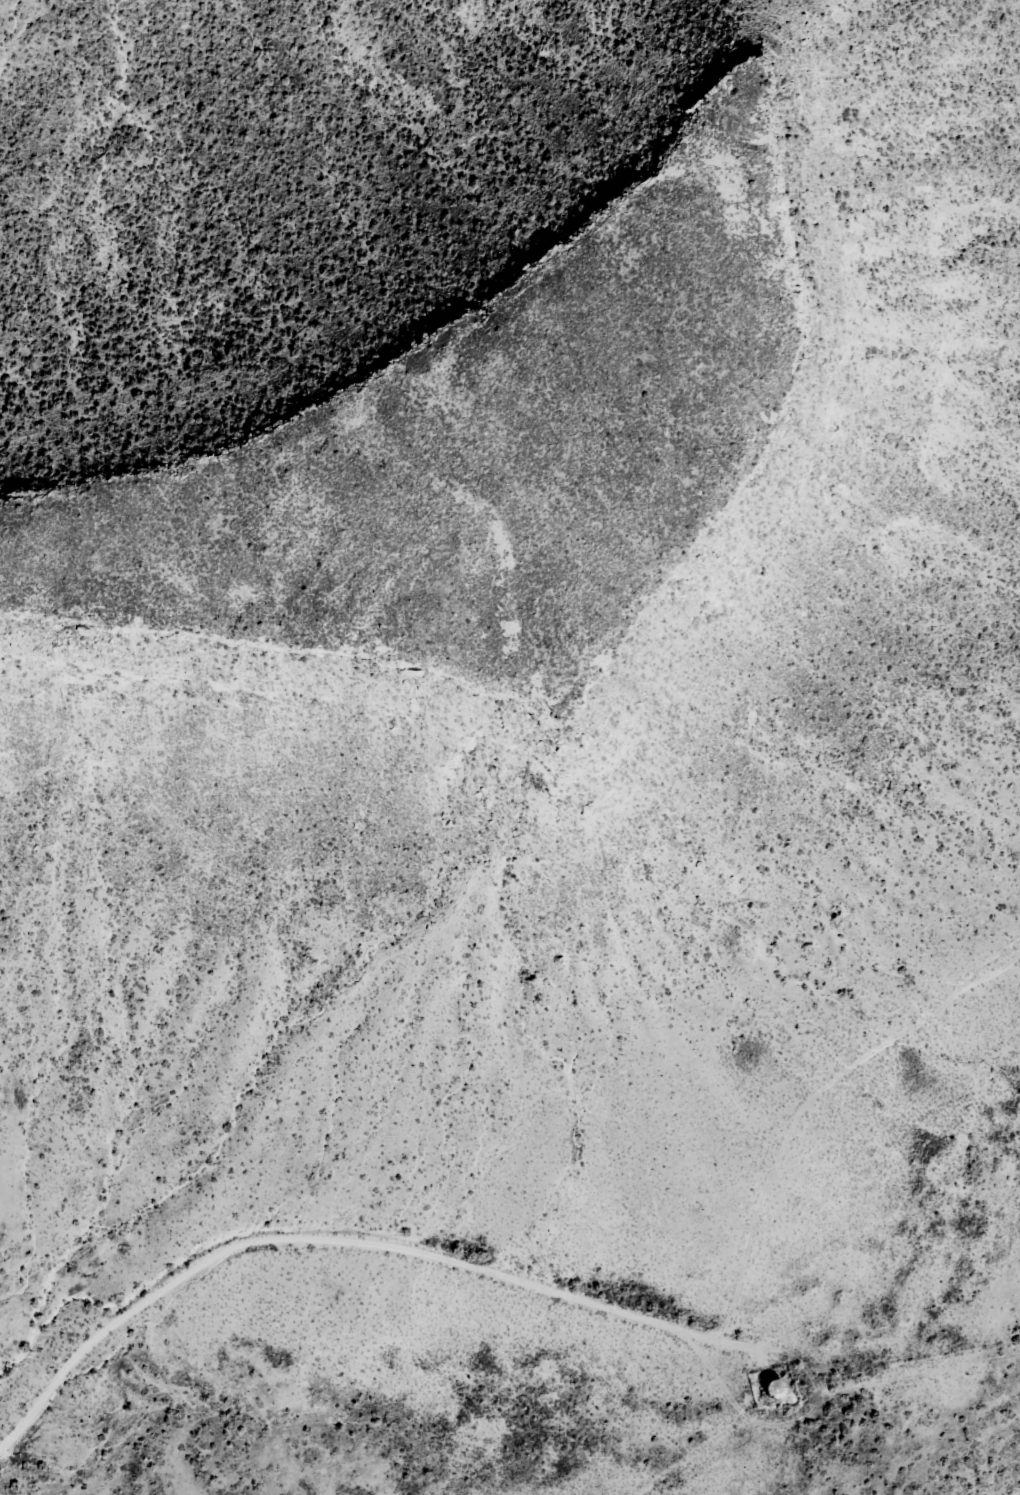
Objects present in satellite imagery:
road: (305, 1240)

